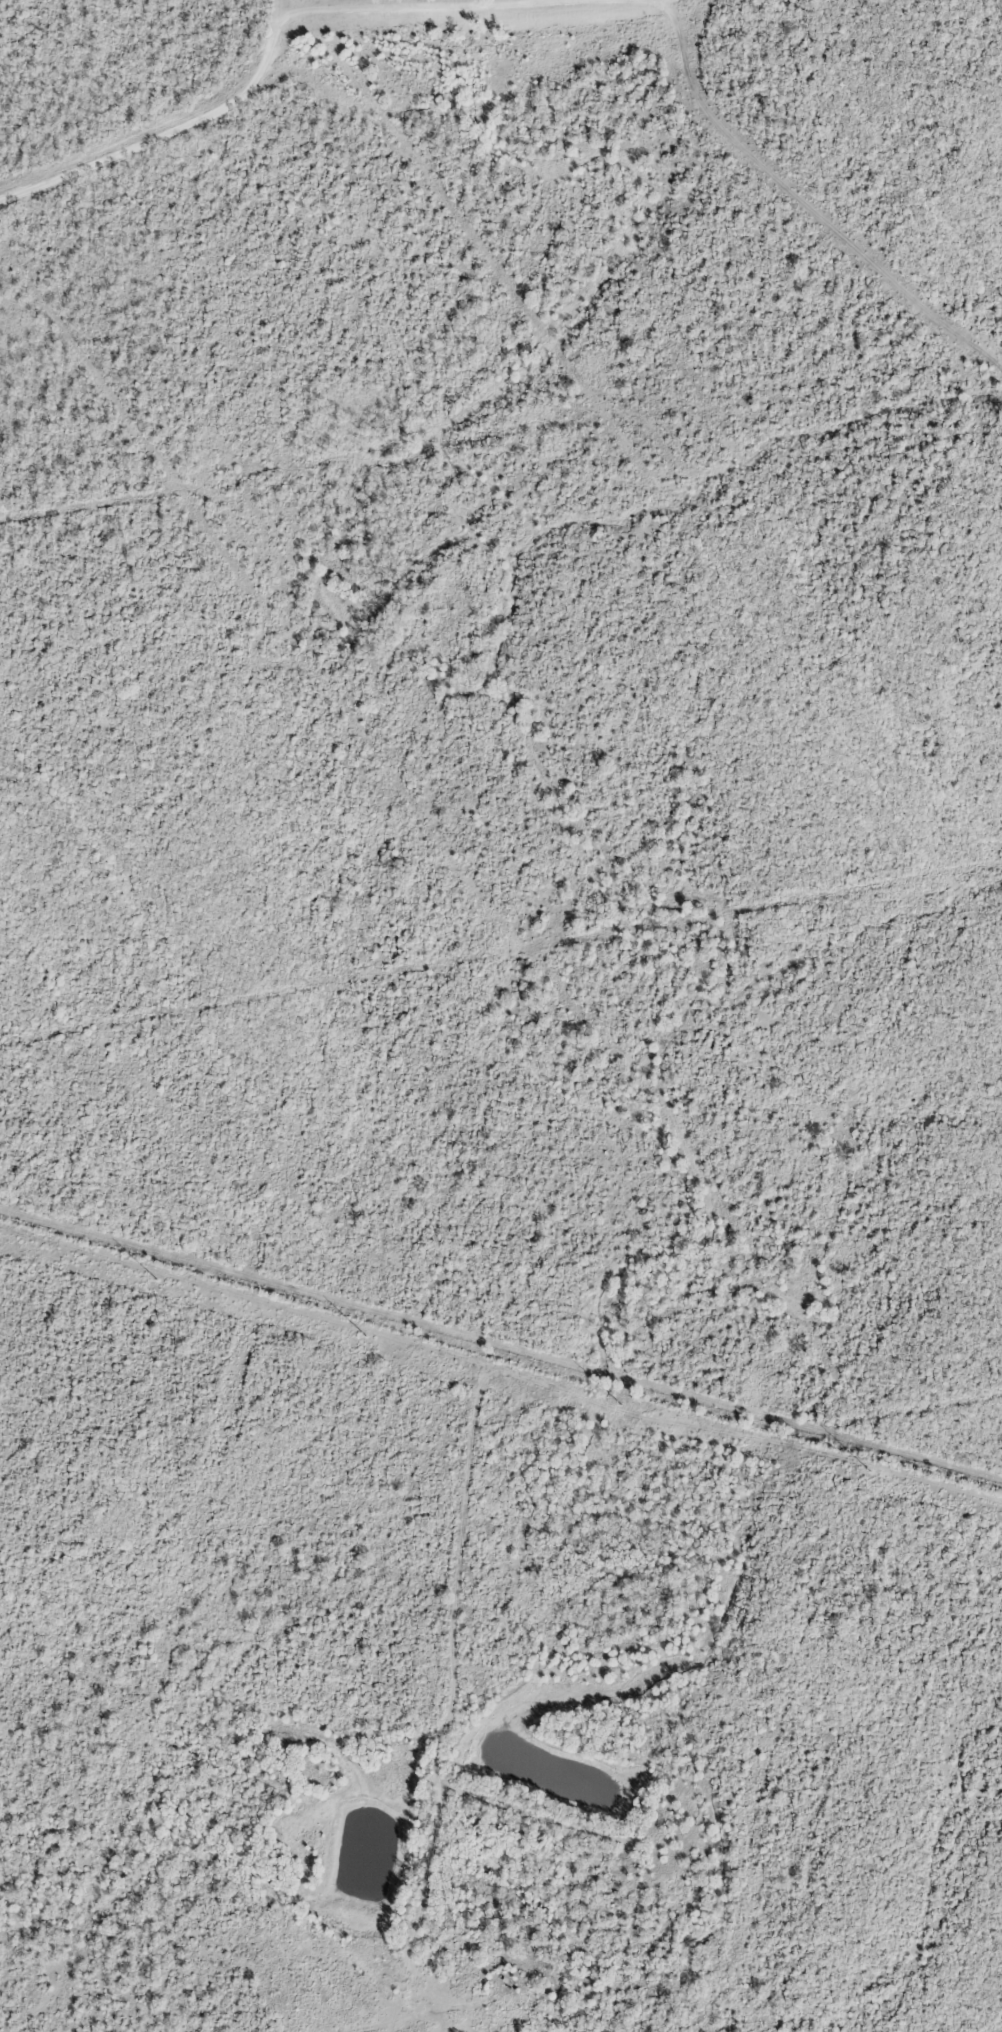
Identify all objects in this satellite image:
road: (143, 141)
power tower: (156, 1280)
power tower: (363, 1335)
power tower: (620, 1405)
power tower: (869, 1471)

